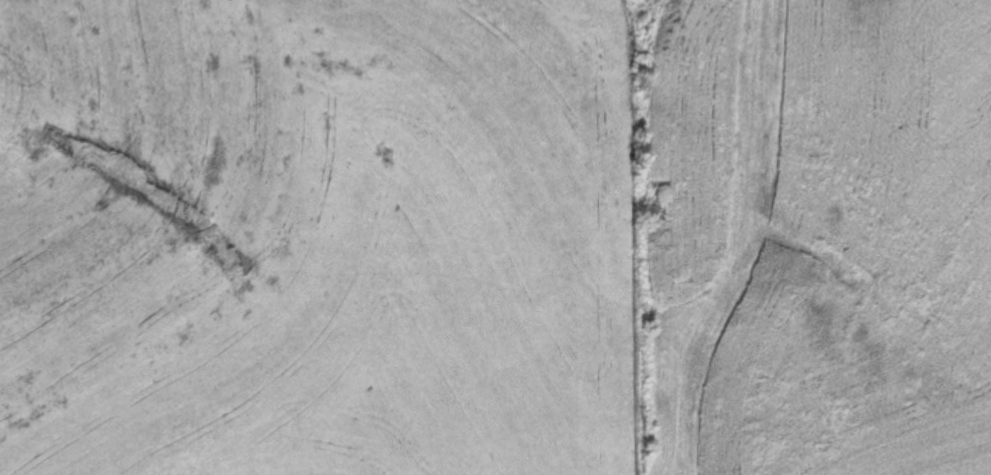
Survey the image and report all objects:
road: (637, 447)

